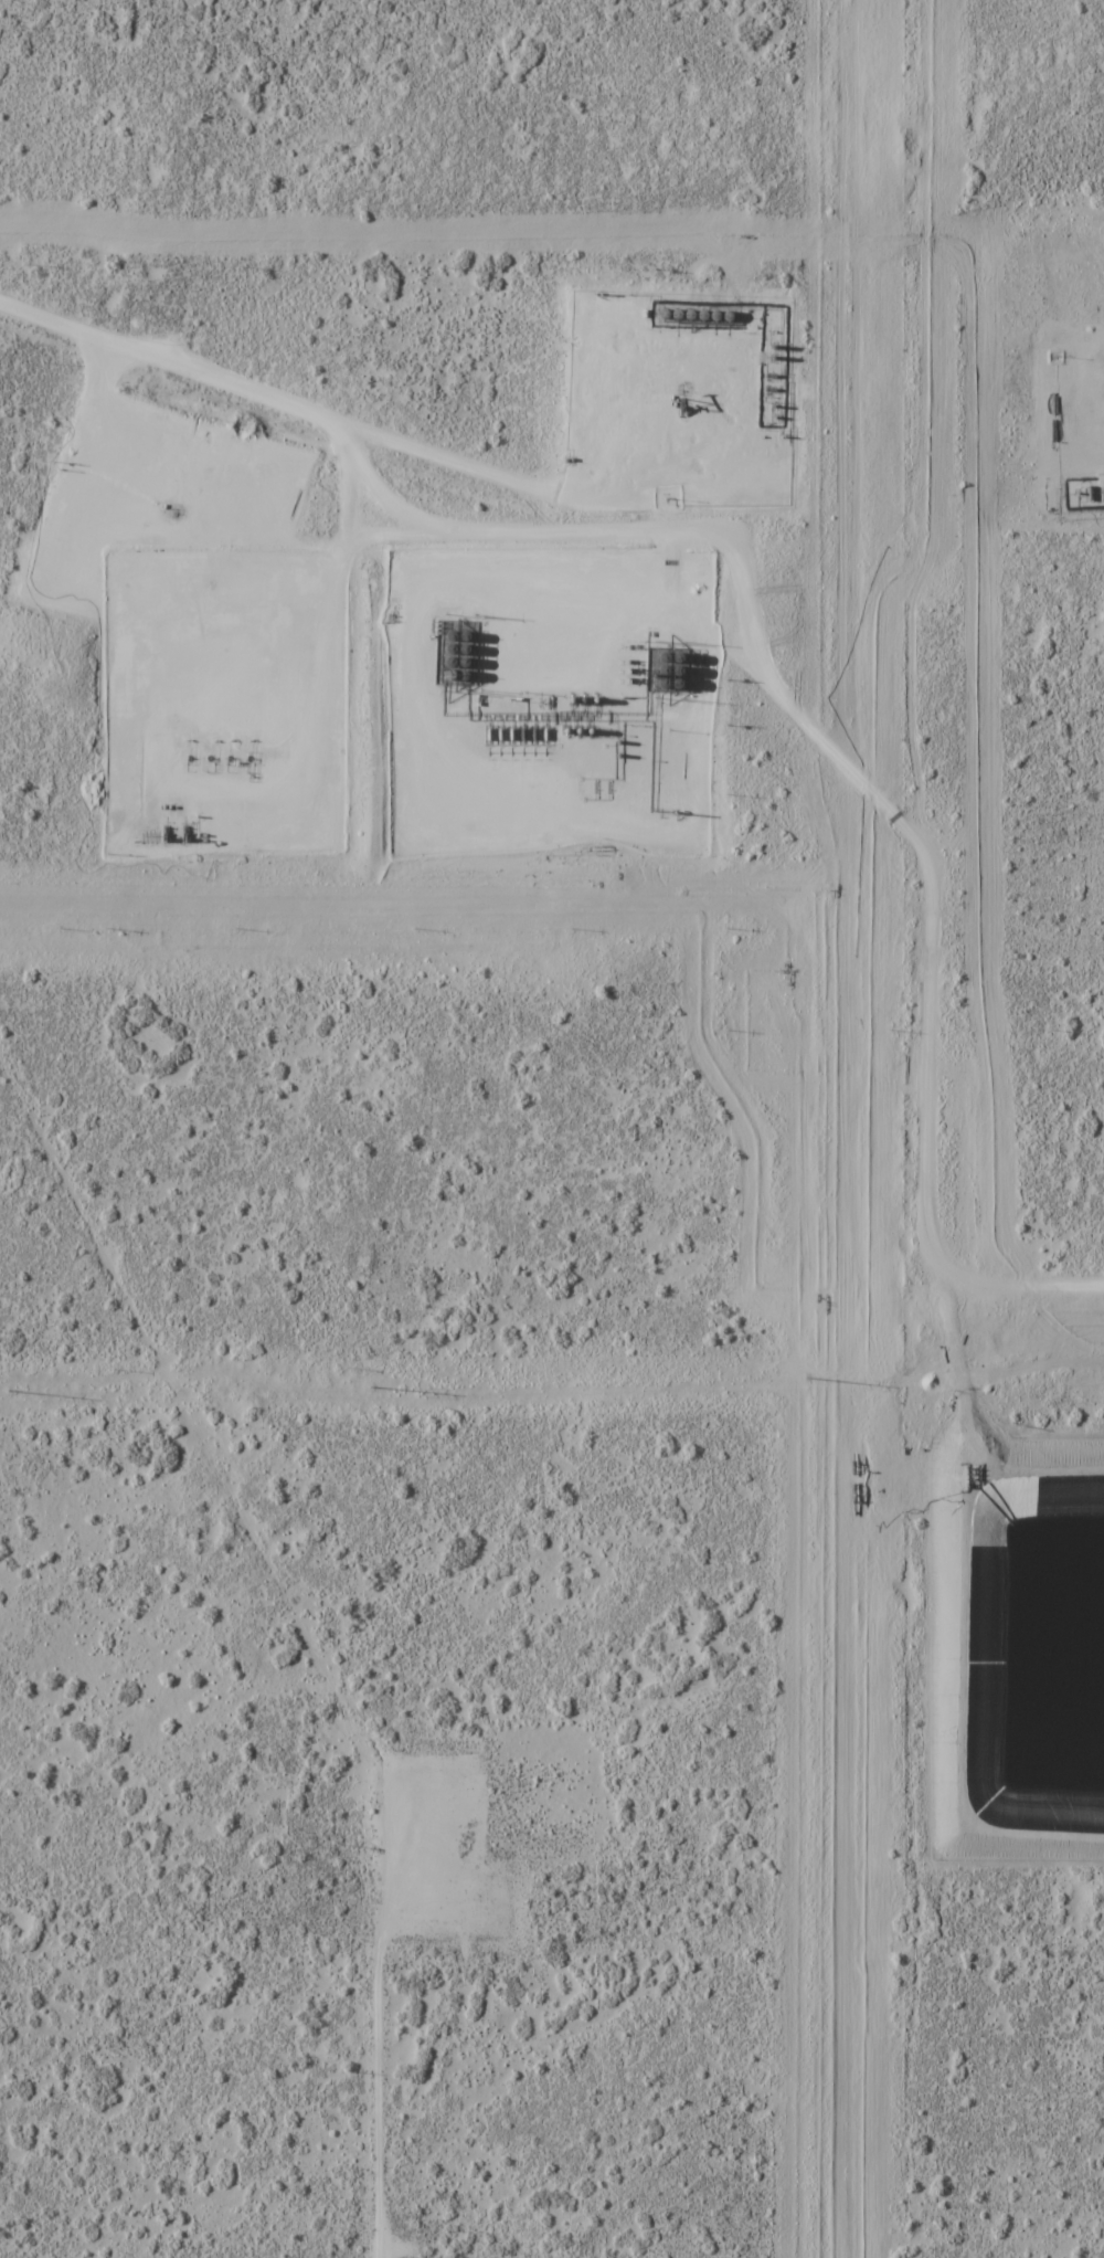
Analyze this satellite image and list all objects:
road: (295, 398)
petroleum well: (678, 404)
petroleum well: (174, 513)
road: (850, 639)
petroleum well: (190, 758)
petroleum well: (210, 758)
petroleum well: (230, 758)
petroleum well: (250, 758)
road: (948, 885)
road: (405, 2033)

